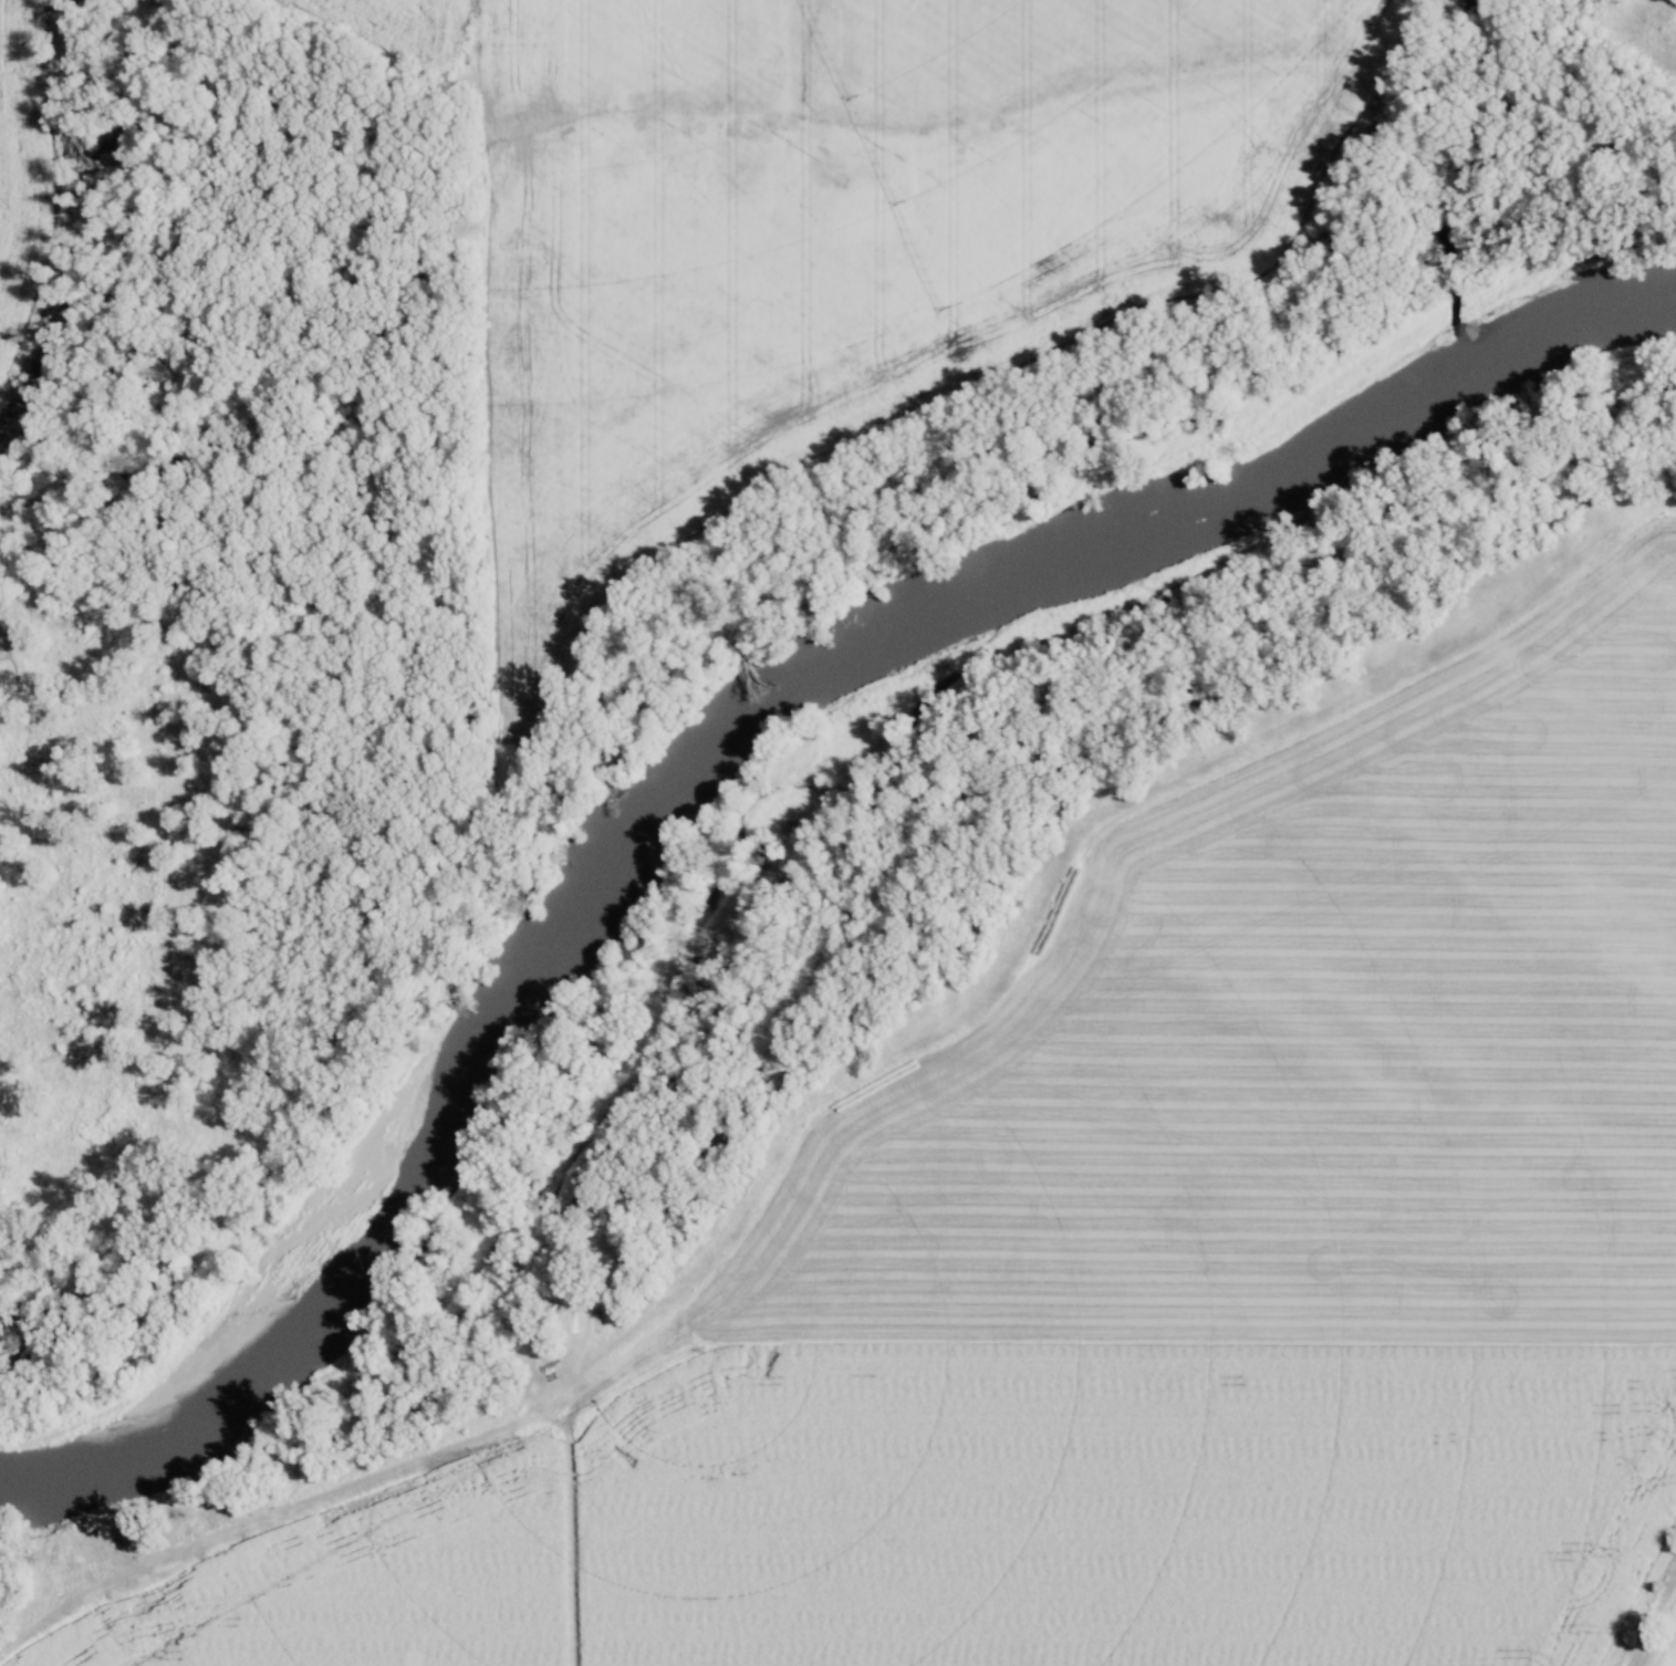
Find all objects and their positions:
river: (728, 731)

